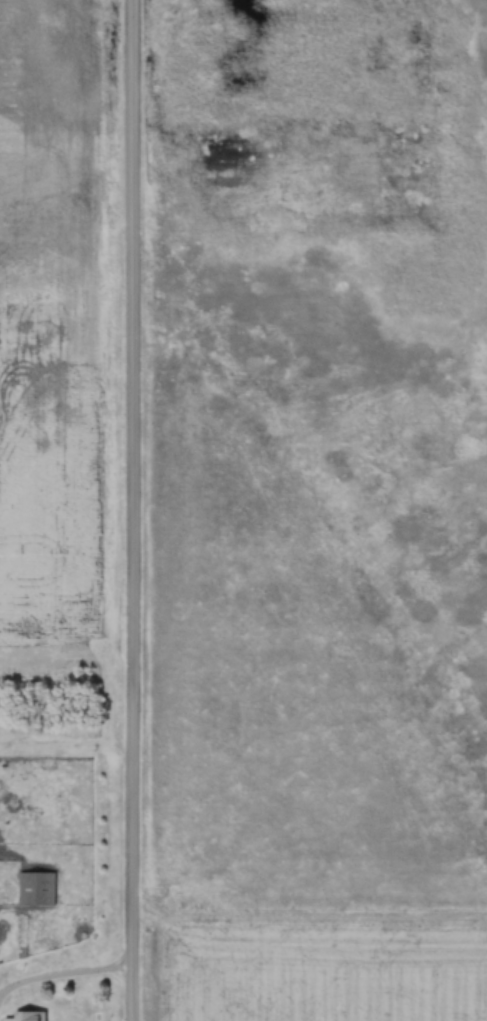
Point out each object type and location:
road: (123, 510)
building: (35, 890)
building: (28, 1017)

